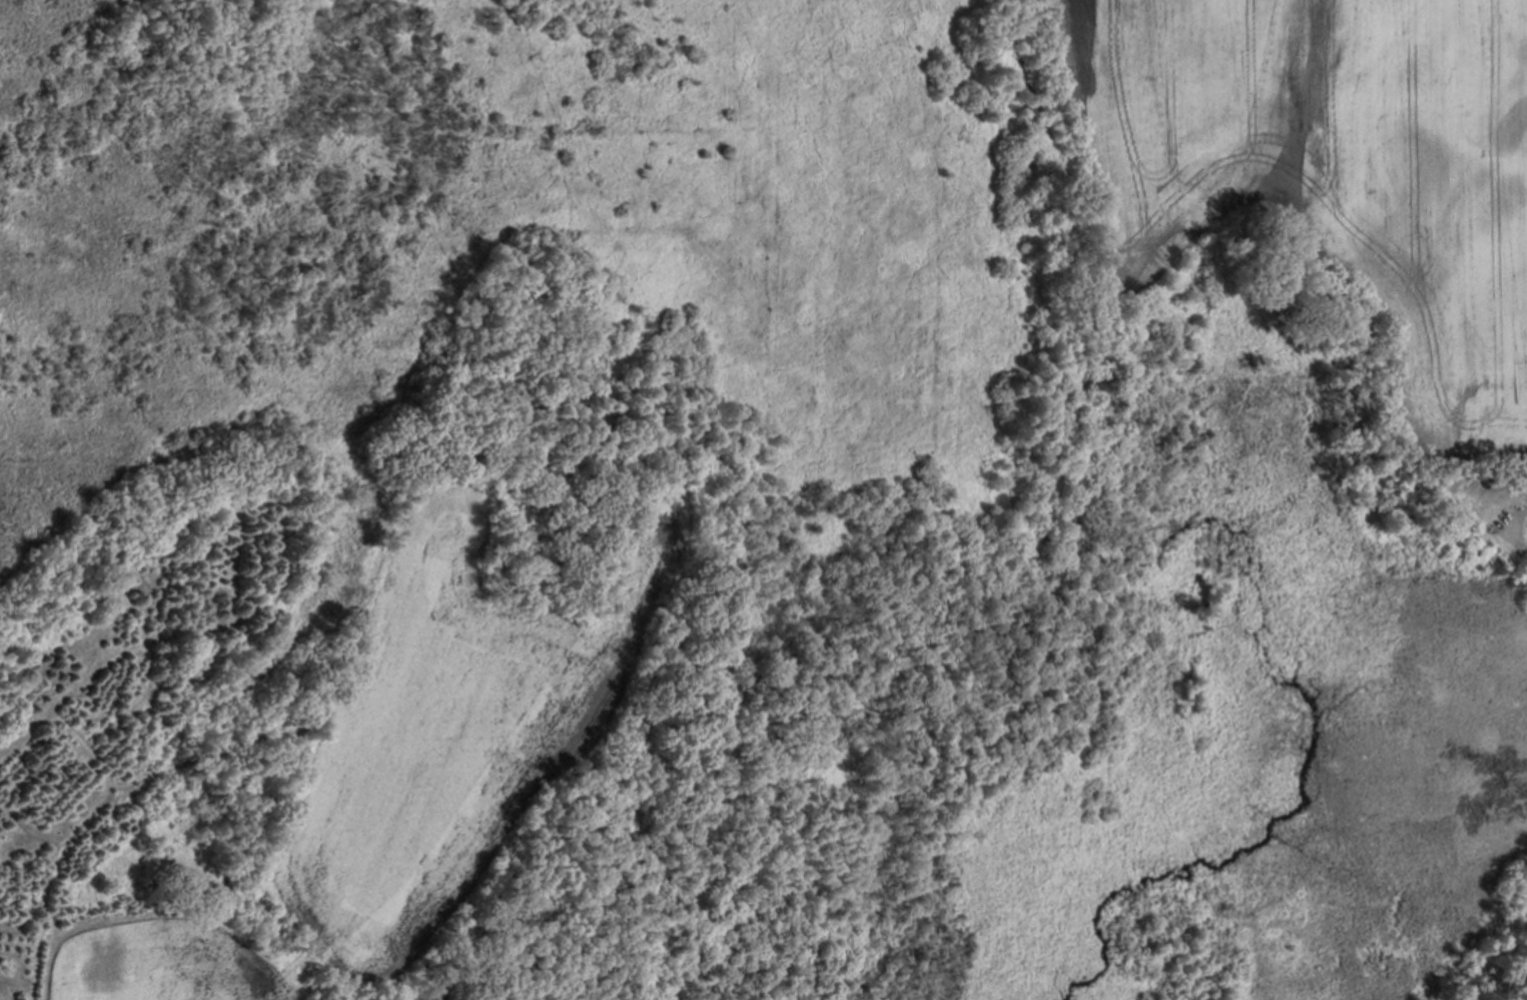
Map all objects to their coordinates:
road: (1518, 539)

